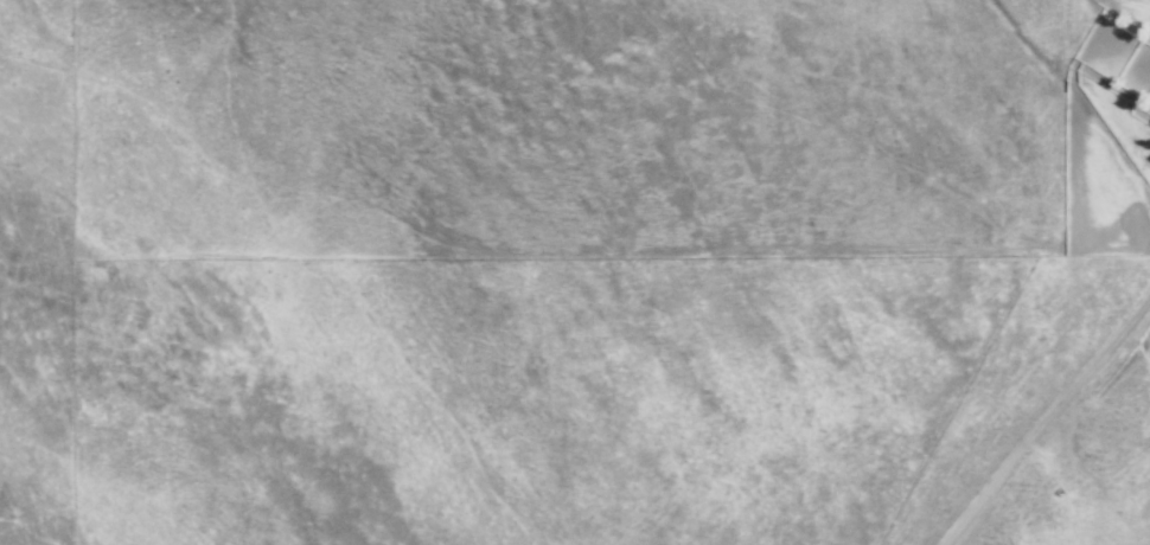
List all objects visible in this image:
road: (1027, 387)

